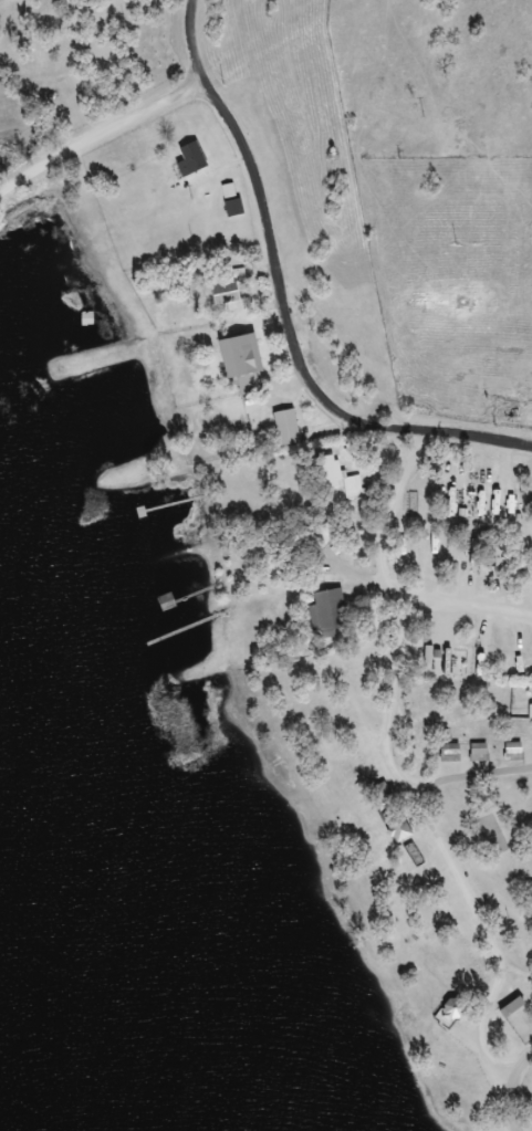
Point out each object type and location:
road: (167, 44)
road: (161, 92)
building: (194, 159)
building: (233, 200)
building: (215, 294)
road: (286, 350)
building: (243, 363)
building: (336, 478)
road: (330, 559)
road: (435, 590)
building: (331, 615)
building: (514, 752)
building: (451, 753)
building: (480, 753)
road: (459, 800)
building: (400, 829)
building: (514, 1008)
building: (455, 1010)
road: (511, 1098)

